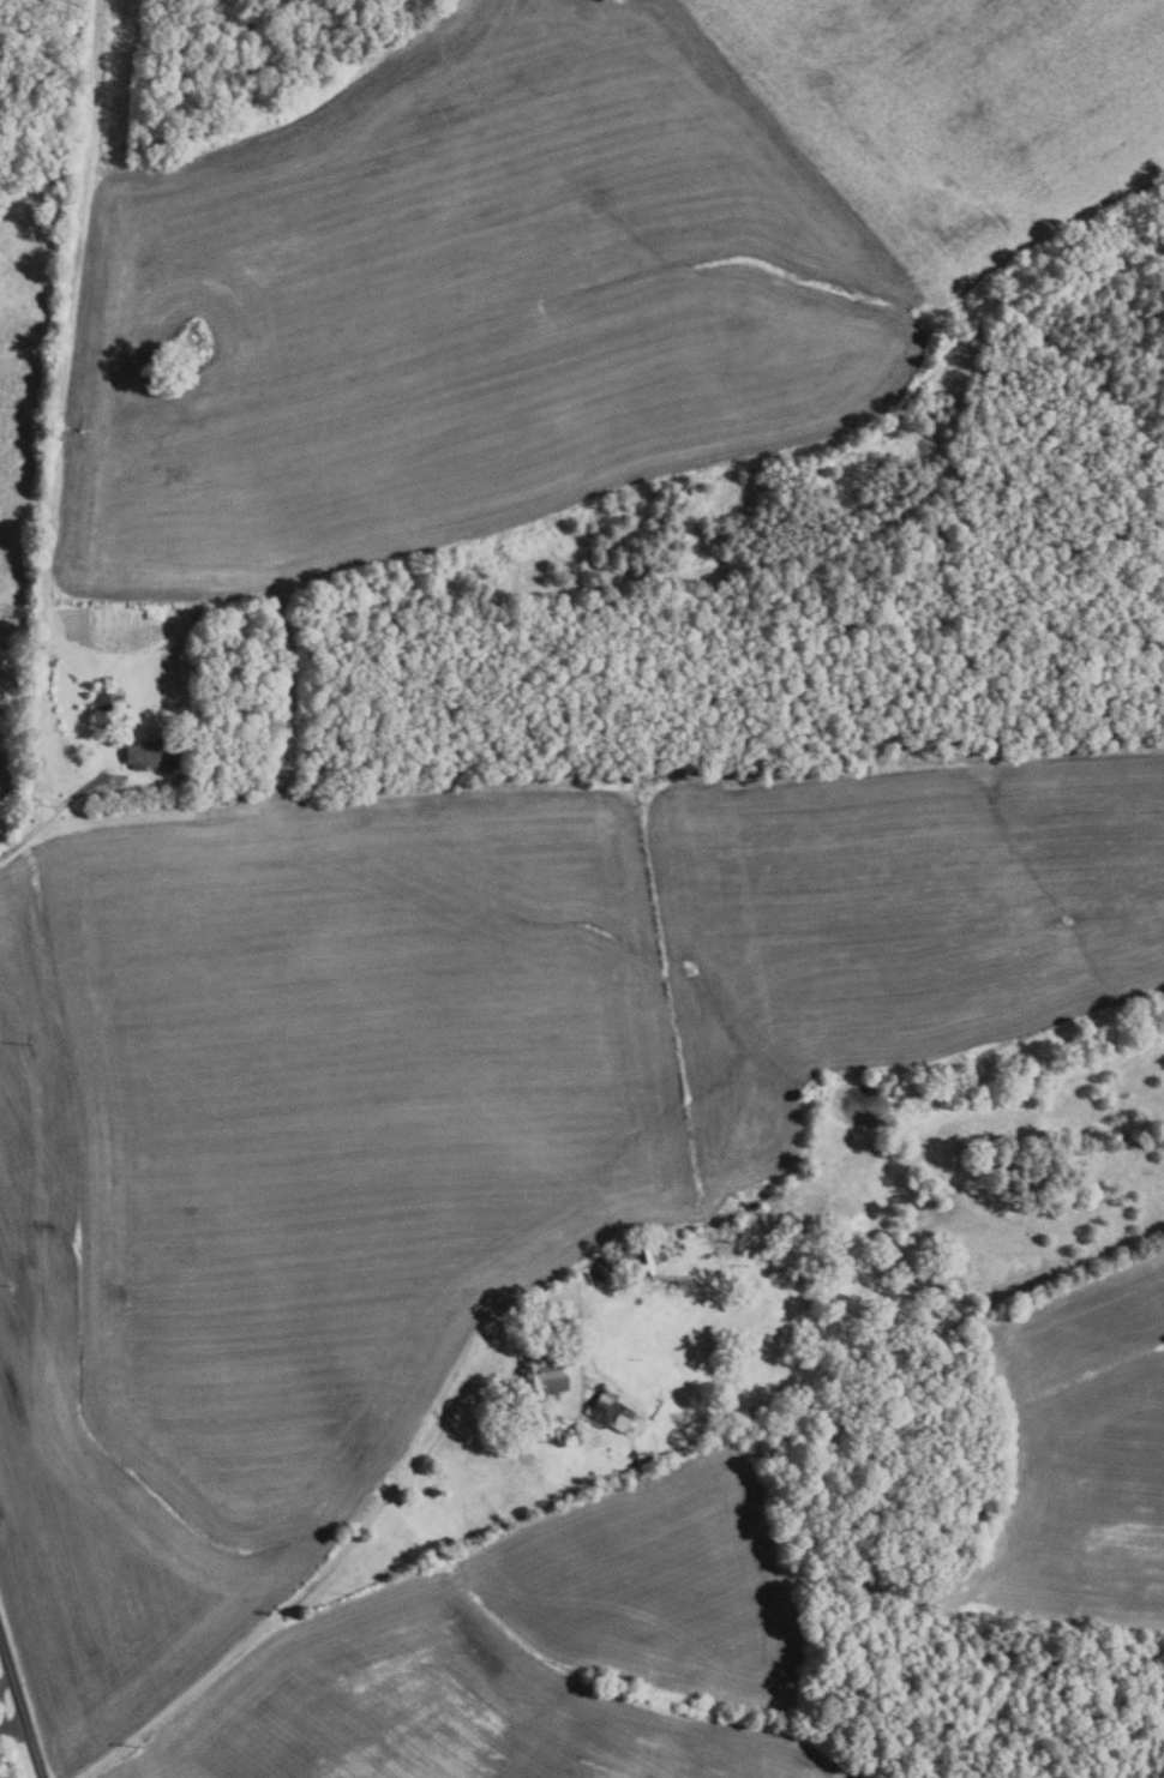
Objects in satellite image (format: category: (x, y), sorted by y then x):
power tower: (115, 17)
road: (70, 298)
power tower: (83, 431)
building: (40, 642)
building: (197, 673)
building: (98, 704)
building: (149, 756)
power tower: (49, 805)
road: (48, 816)
power tower: (30, 1045)
building: (613, 1260)
building: (593, 1274)
building: (683, 1281)
power tower: (12, 1284)
building: (487, 1339)
building: (539, 1376)
road: (457, 1394)
building: (610, 1412)
road: (385, 1496)
road: (241, 1646)
road: (5, 1680)
road: (20, 1708)
road: (1, 1722)
road: (12, 1726)
power tower: (140, 1747)

